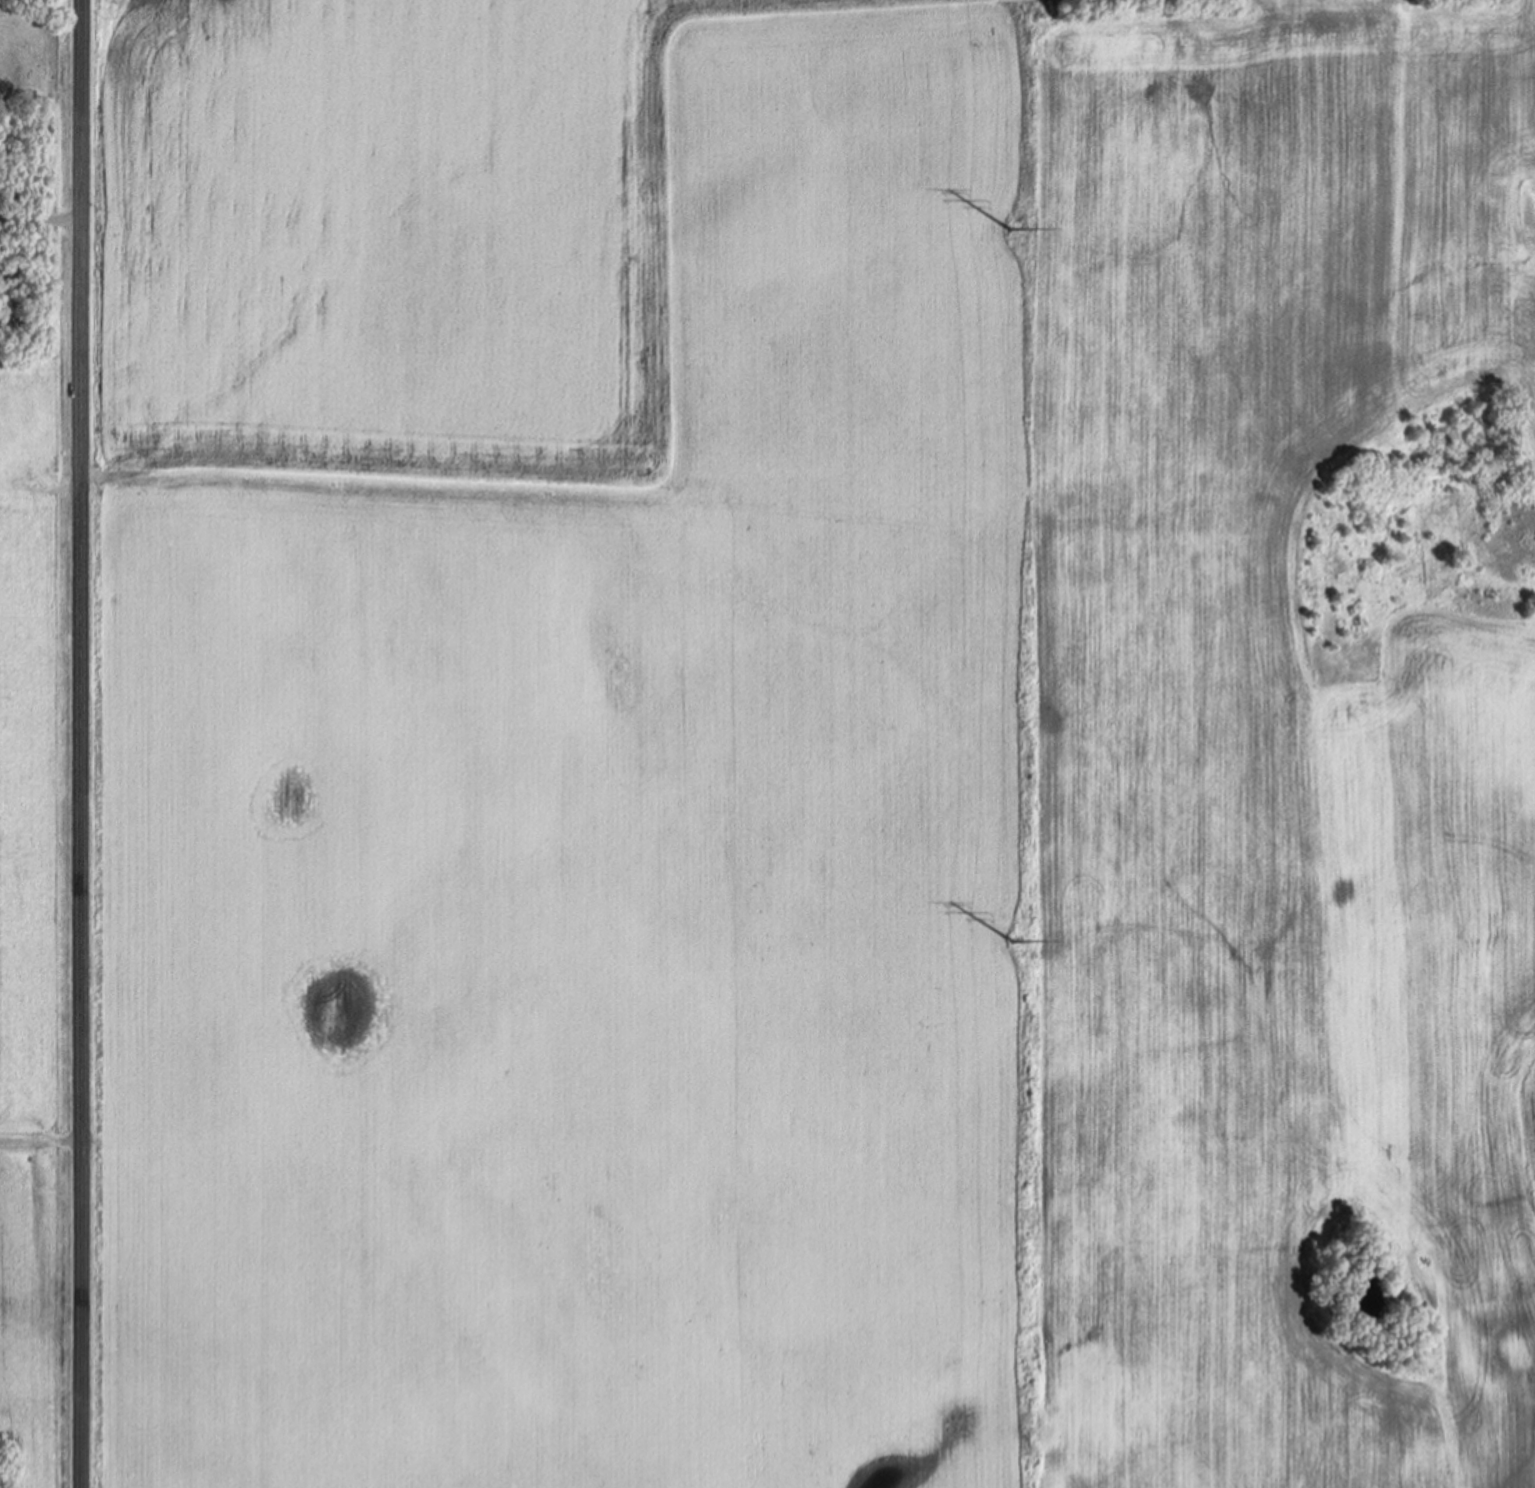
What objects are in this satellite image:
road: (39, 221)
power tower: (1009, 232)
building: (8, 276)
road: (79, 743)
power tower: (1010, 945)

